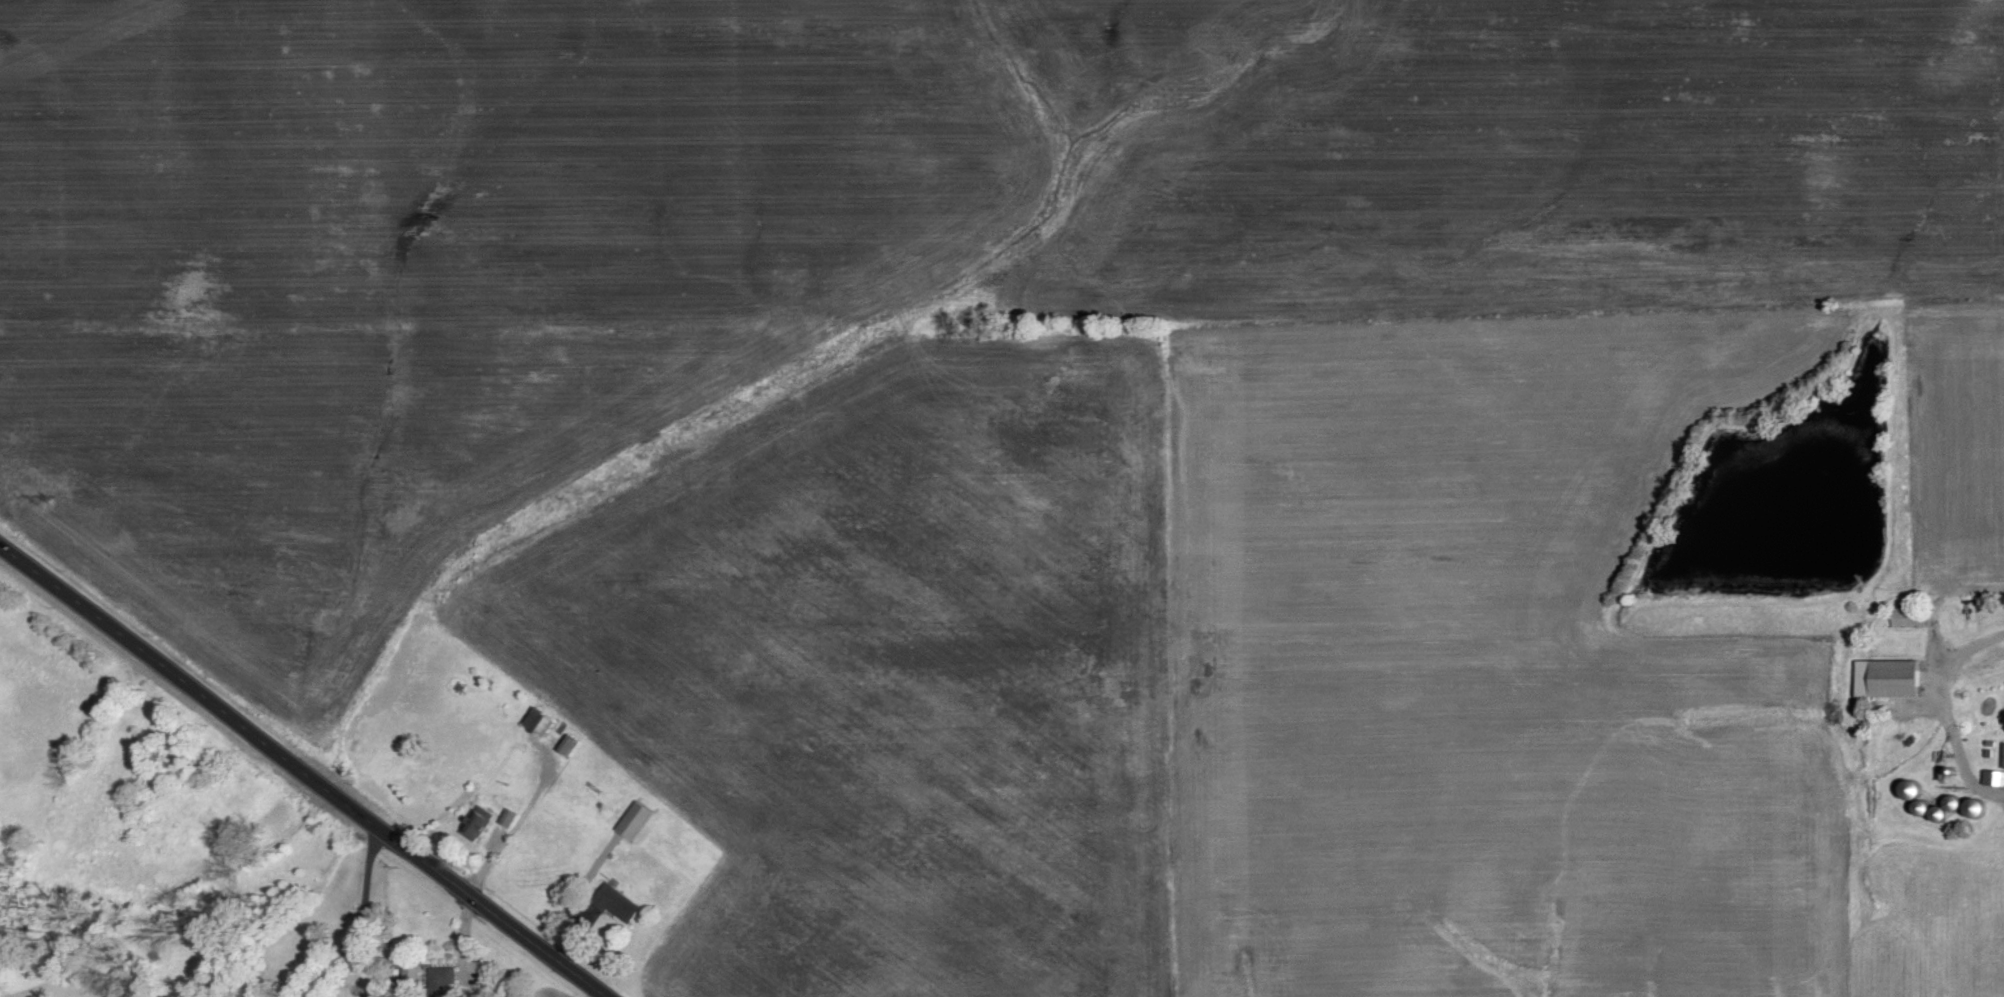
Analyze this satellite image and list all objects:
building: (1909, 617)
building: (1888, 677)
road: (1945, 709)
road: (304, 770)
building: (1994, 777)
building: (509, 817)
building: (636, 820)
building: (479, 823)
road: (515, 826)
building: (617, 902)
road: (362, 919)
building: (441, 982)

